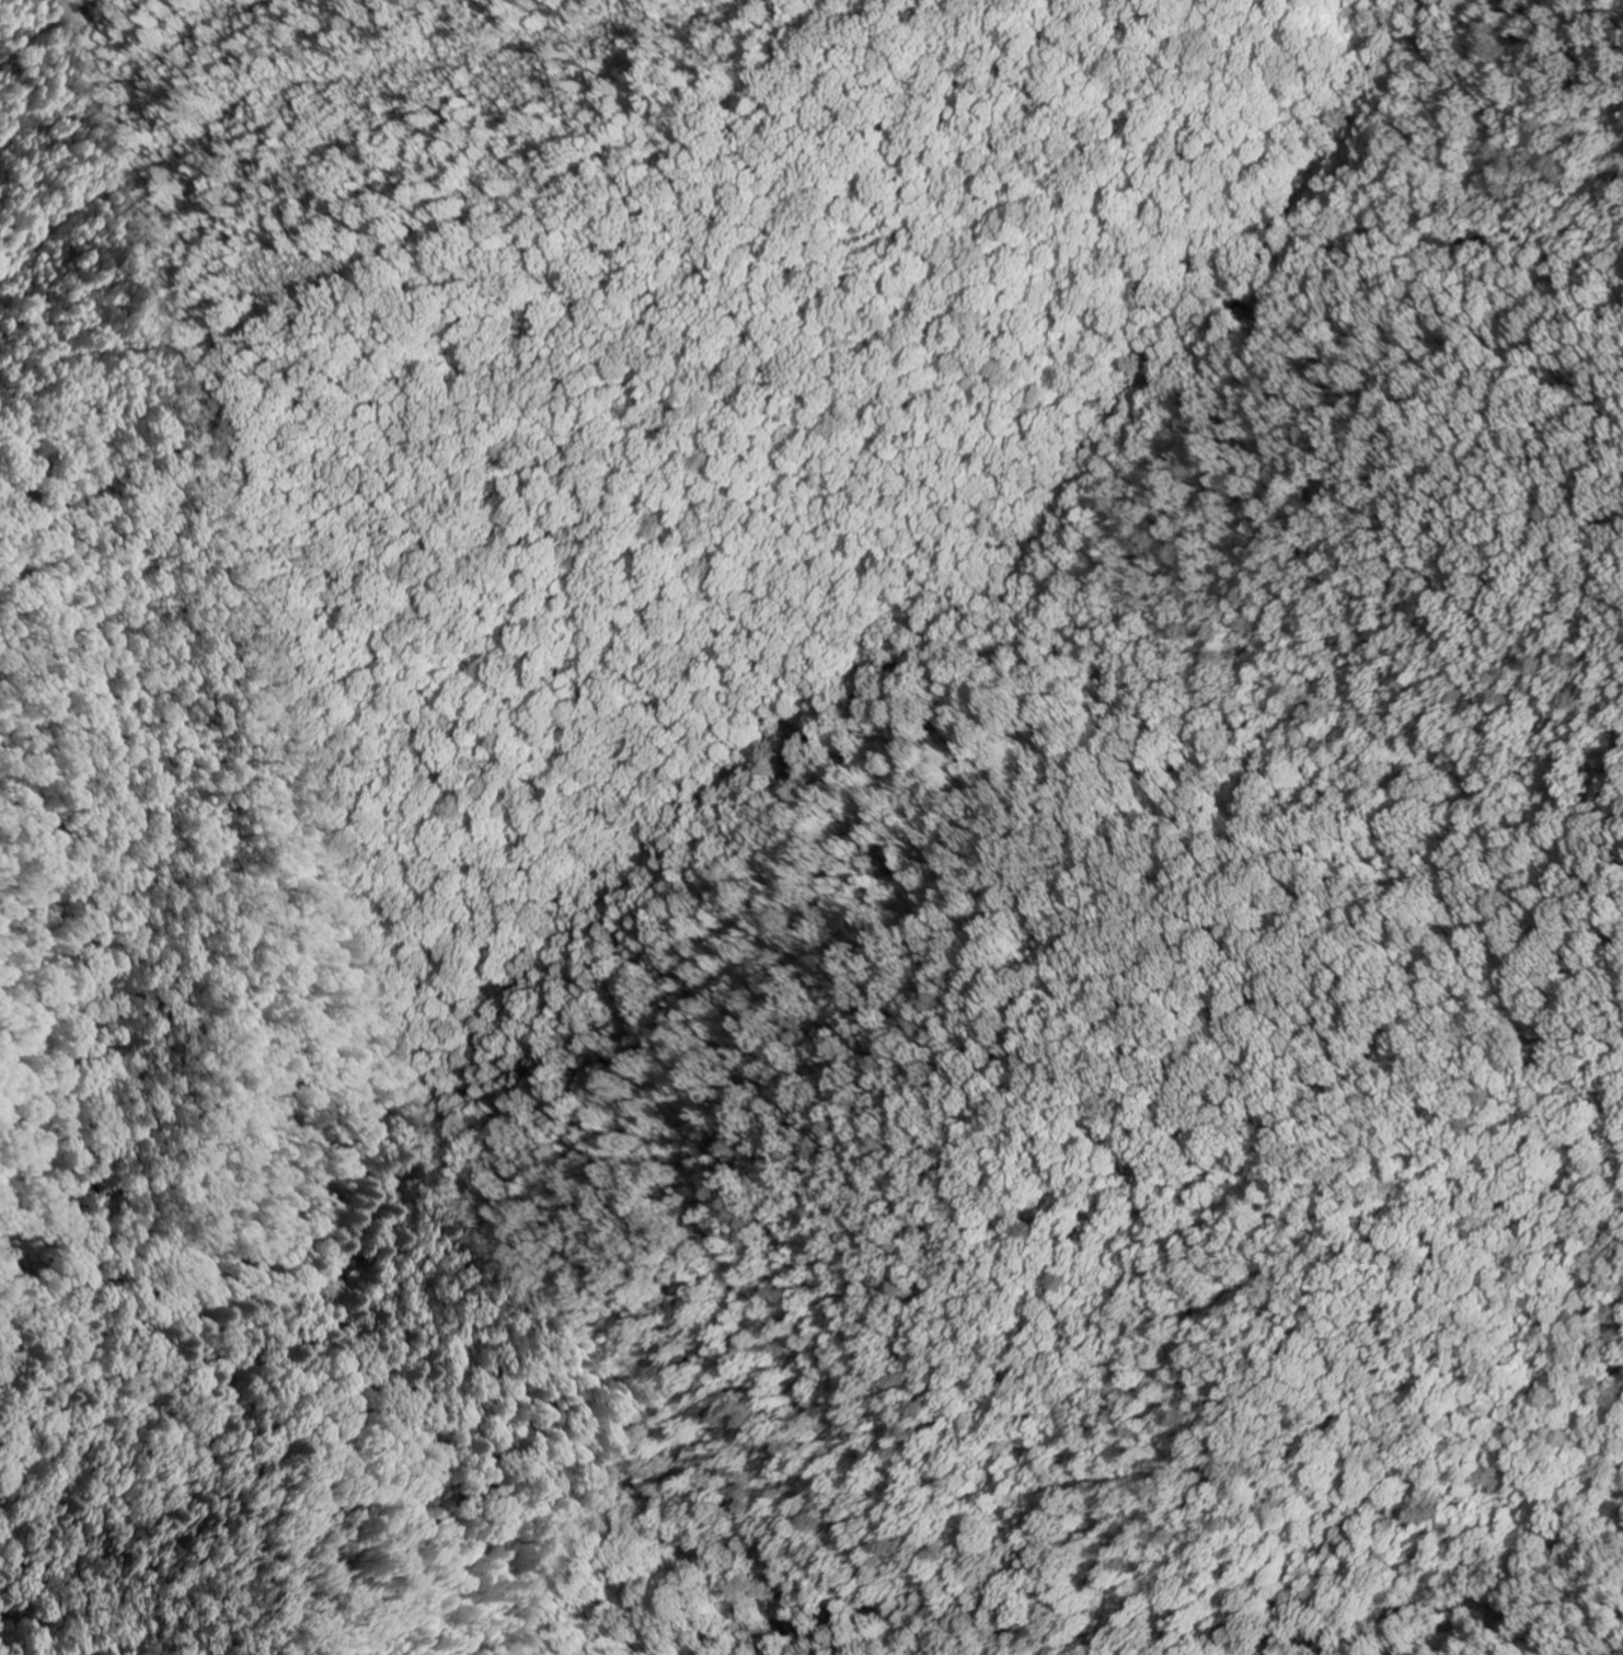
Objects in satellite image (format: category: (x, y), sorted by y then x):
road: (1149, 450)
road: (356, 1141)

